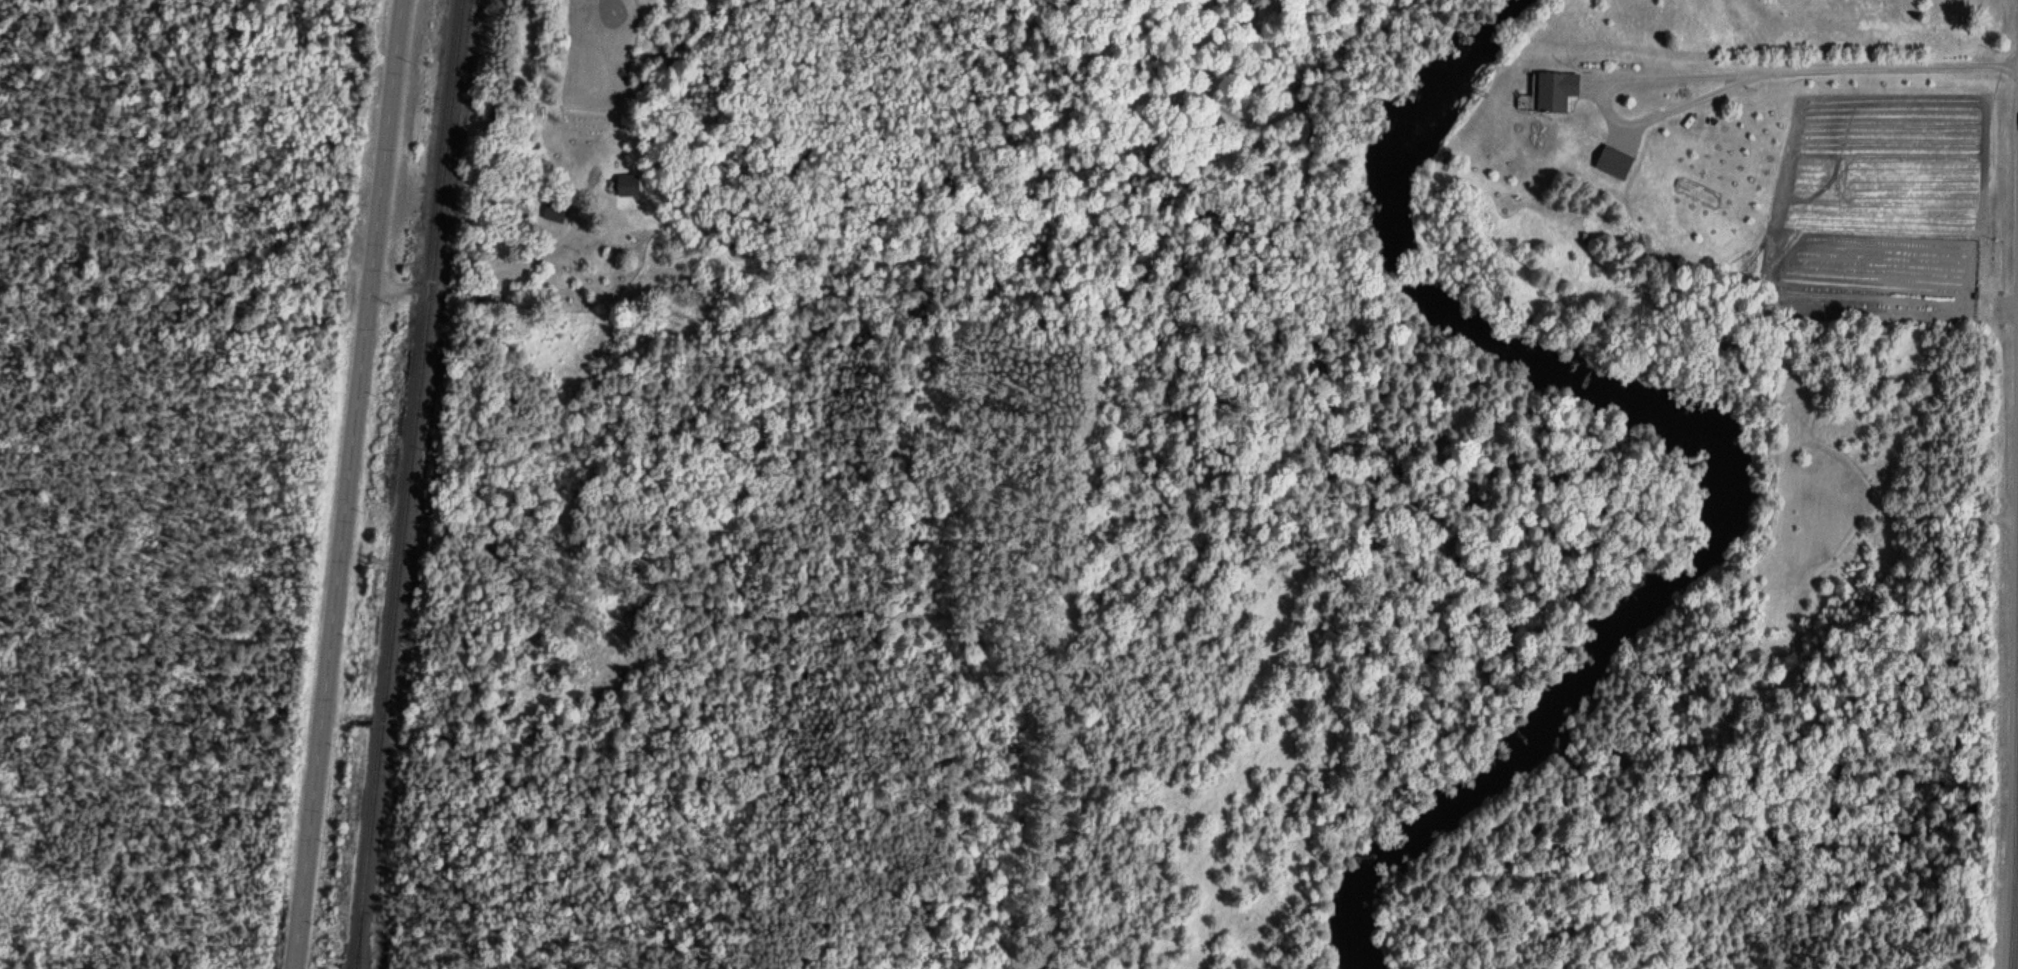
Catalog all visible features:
road: (1884, 66)
building: (1554, 84)
road: (1599, 104)
building: (1611, 157)
building: (626, 186)
road: (492, 284)
river: (1588, 366)
road: (350, 484)
railway: (413, 484)
river: (1422, 822)
road: (2016, 938)
railway: (361, 949)

